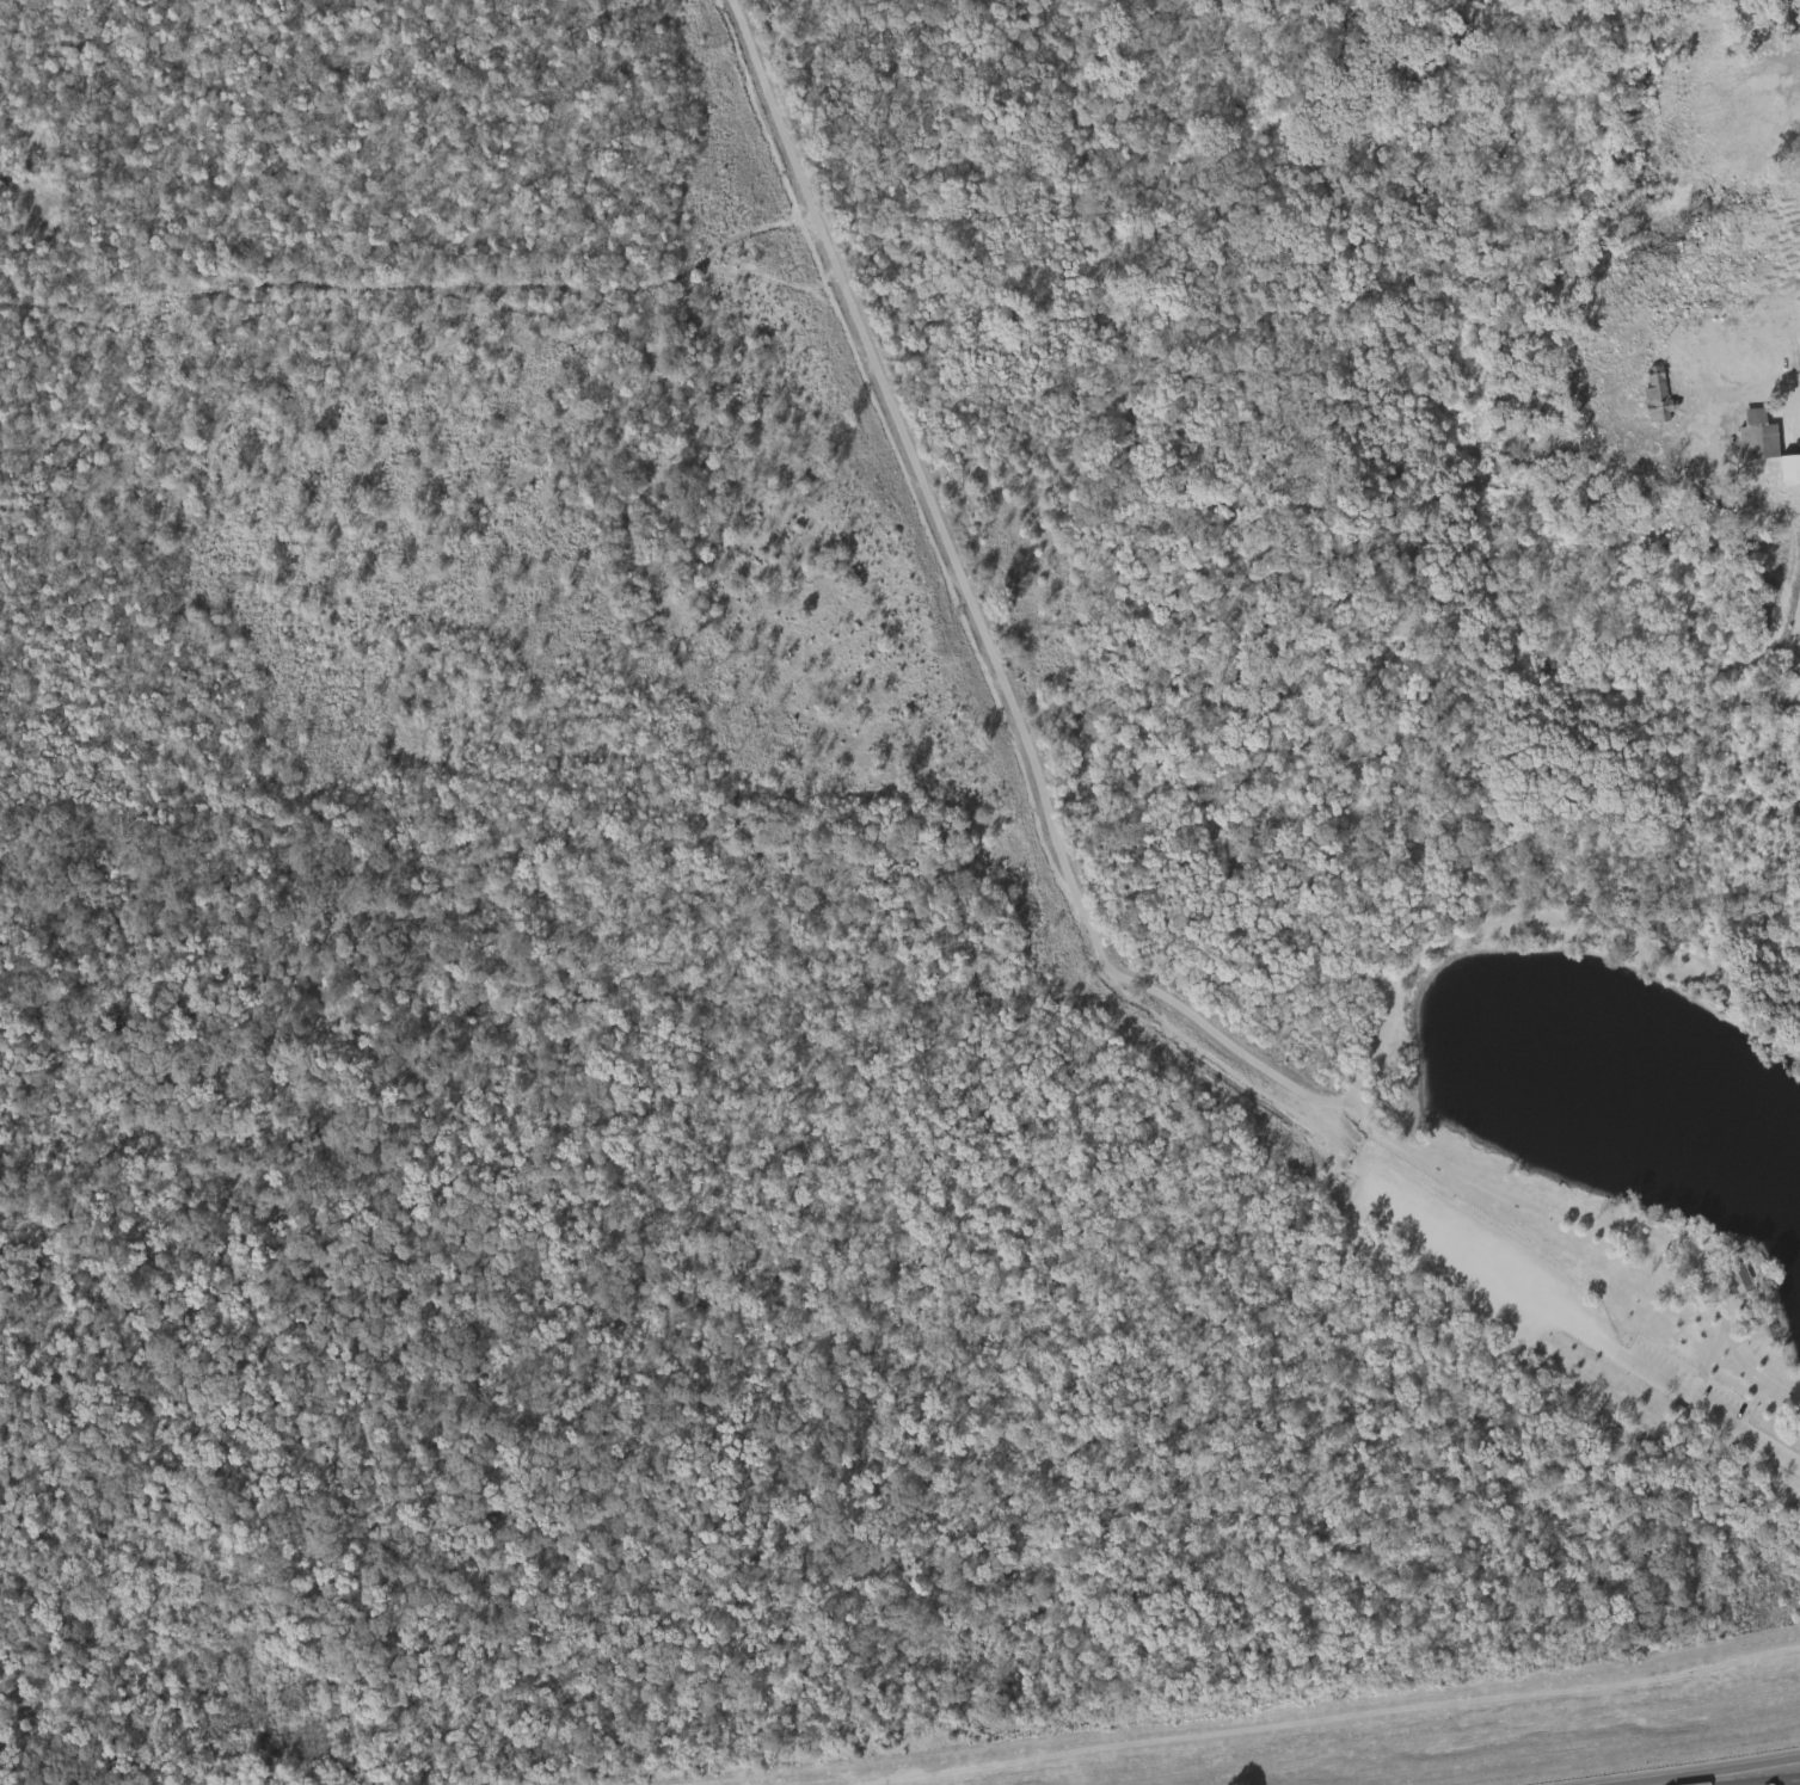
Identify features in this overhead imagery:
building: (1605, 347)
road: (1765, 386)
building: (1658, 399)
road: (964, 611)
road: (1681, 1390)
road: (1708, 1772)

